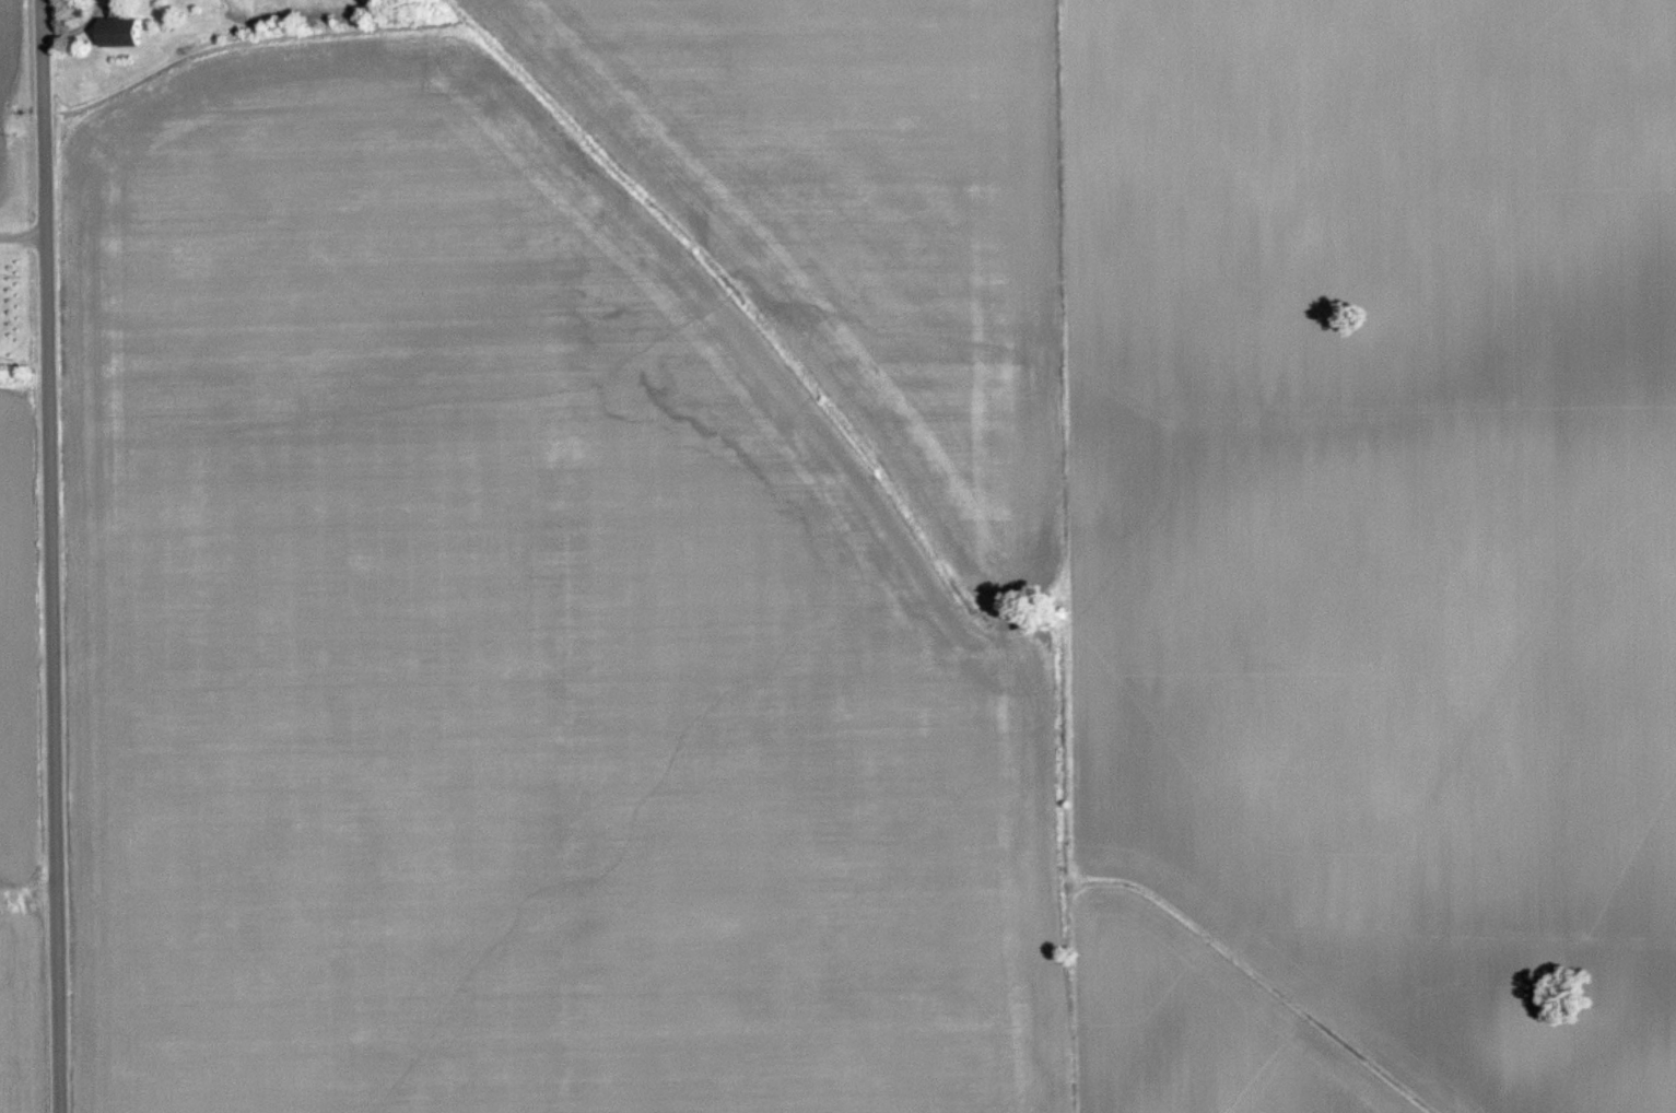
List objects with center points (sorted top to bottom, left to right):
road: (78, 27)
building: (125, 32)
road: (23, 231)
road: (50, 556)

